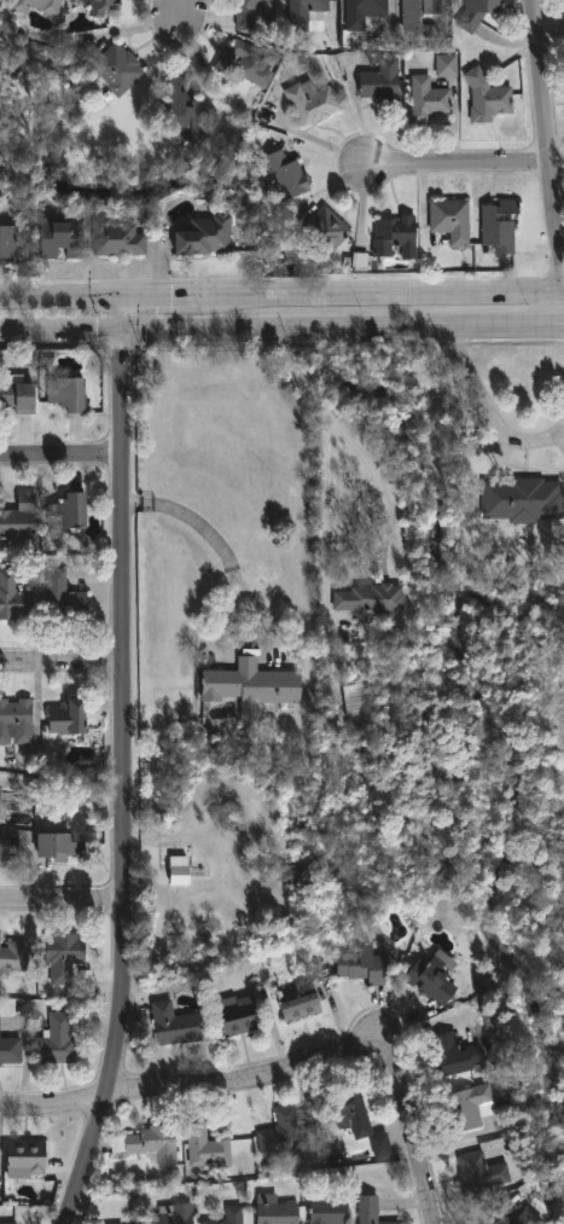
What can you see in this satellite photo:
building: (37, 6)
building: (101, 6)
building: (250, 12)
building: (414, 12)
road: (180, 13)
building: (300, 13)
building: (473, 13)
building: (361, 14)
building: (249, 65)
building: (446, 66)
building: (116, 68)
building: (378, 83)
building: (483, 98)
building: (308, 101)
building: (423, 101)
building: (179, 110)
road: (548, 127)
building: (2, 159)
road: (459, 166)
building: (283, 176)
building: (2, 186)
building: (447, 219)
building: (495, 226)
building: (321, 231)
building: (202, 236)
building: (64, 237)
building: (391, 238)
building: (114, 239)
building: (10, 243)
road: (388, 292)
road: (165, 295)
traffic signals: (170, 295)
road: (59, 296)
road: (518, 324)
road: (237, 327)
traffic signals: (95, 330)
traffic signals: (120, 356)
building: (72, 391)
building: (17, 398)
road: (488, 410)
road: (59, 456)
building: (517, 498)
building: (71, 510)
road: (385, 512)
building: (21, 518)
road: (250, 593)
building: (63, 597)
building: (14, 598)
building: (367, 599)
road: (59, 665)
building: (251, 688)
building: (359, 702)
building: (68, 718)
building: (16, 723)
road: (122, 764)
building: (10, 846)
building: (57, 847)
building: (178, 871)
road: (63, 903)
building: (64, 957)
building: (13, 958)
building: (360, 967)
building: (432, 979)
building: (298, 1002)
building: (238, 1015)
building: (173, 1026)
building: (54, 1042)
building: (10, 1051)
building: (455, 1055)
road: (286, 1072)
building: (467, 1108)
building: (353, 1119)
building: (279, 1135)
building: (145, 1144)
building: (205, 1148)
building: (25, 1160)
building: (479, 1173)
building: (274, 1211)
building: (367, 1211)
building: (328, 1212)
building: (173, 1214)
building: (229, 1217)
building: (523, 1218)
building: (11, 1223)

